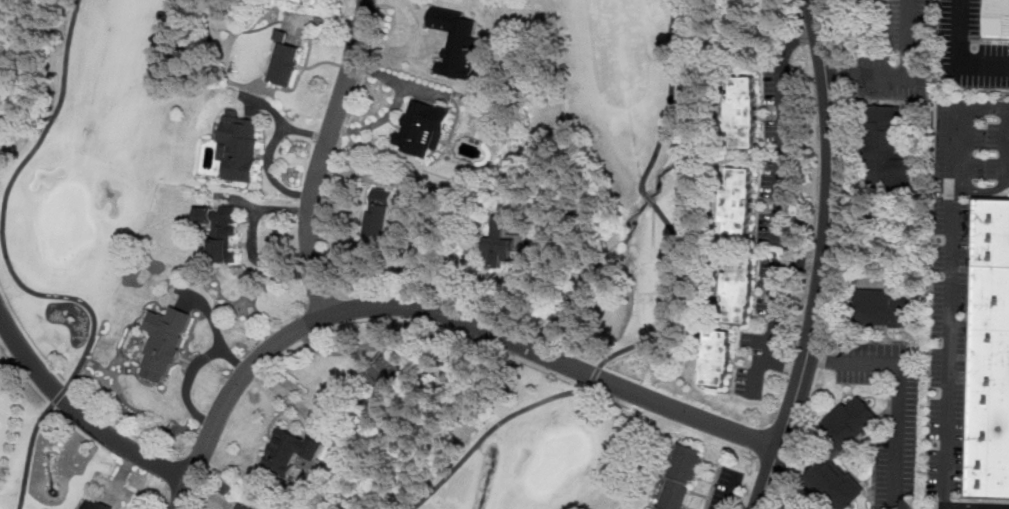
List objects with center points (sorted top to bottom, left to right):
building: (854, 1)
building: (997, 16)
building: (457, 41)
building: (1, 42)
road: (959, 54)
building: (284, 60)
building: (2, 67)
road: (904, 75)
road: (912, 77)
road: (670, 99)
road: (984, 107)
building: (743, 109)
road: (282, 121)
building: (423, 127)
road: (1008, 128)
building: (893, 140)
road: (1007, 141)
building: (239, 145)
road: (782, 151)
building: (885, 151)
road: (321, 156)
road: (271, 171)
road: (1008, 174)
road: (1008, 176)
road: (984, 189)
road: (650, 197)
building: (739, 202)
park: (82, 207)
building: (380, 212)
park: (69, 220)
building: (220, 230)
building: (502, 241)
road: (825, 258)
park: (601, 260)
parking lot: (957, 280)
road: (20, 281)
road: (519, 288)
building: (738, 289)
building: (882, 306)
road: (947, 308)
road: (437, 310)
road: (772, 319)
road: (215, 326)
building: (163, 341)
building: (991, 349)
road: (970, 351)
building: (716, 357)
building: (390, 374)
road: (186, 381)
road: (591, 384)
road: (900, 394)
road: (81, 413)
building: (849, 420)
road: (678, 435)
building: (291, 450)
park: (560, 458)
road: (709, 462)
building: (834, 463)
building: (681, 474)
road: (704, 479)
building: (831, 482)
road: (731, 491)
road: (697, 494)
building: (89, 507)
building: (241, 507)
road: (686, 507)

